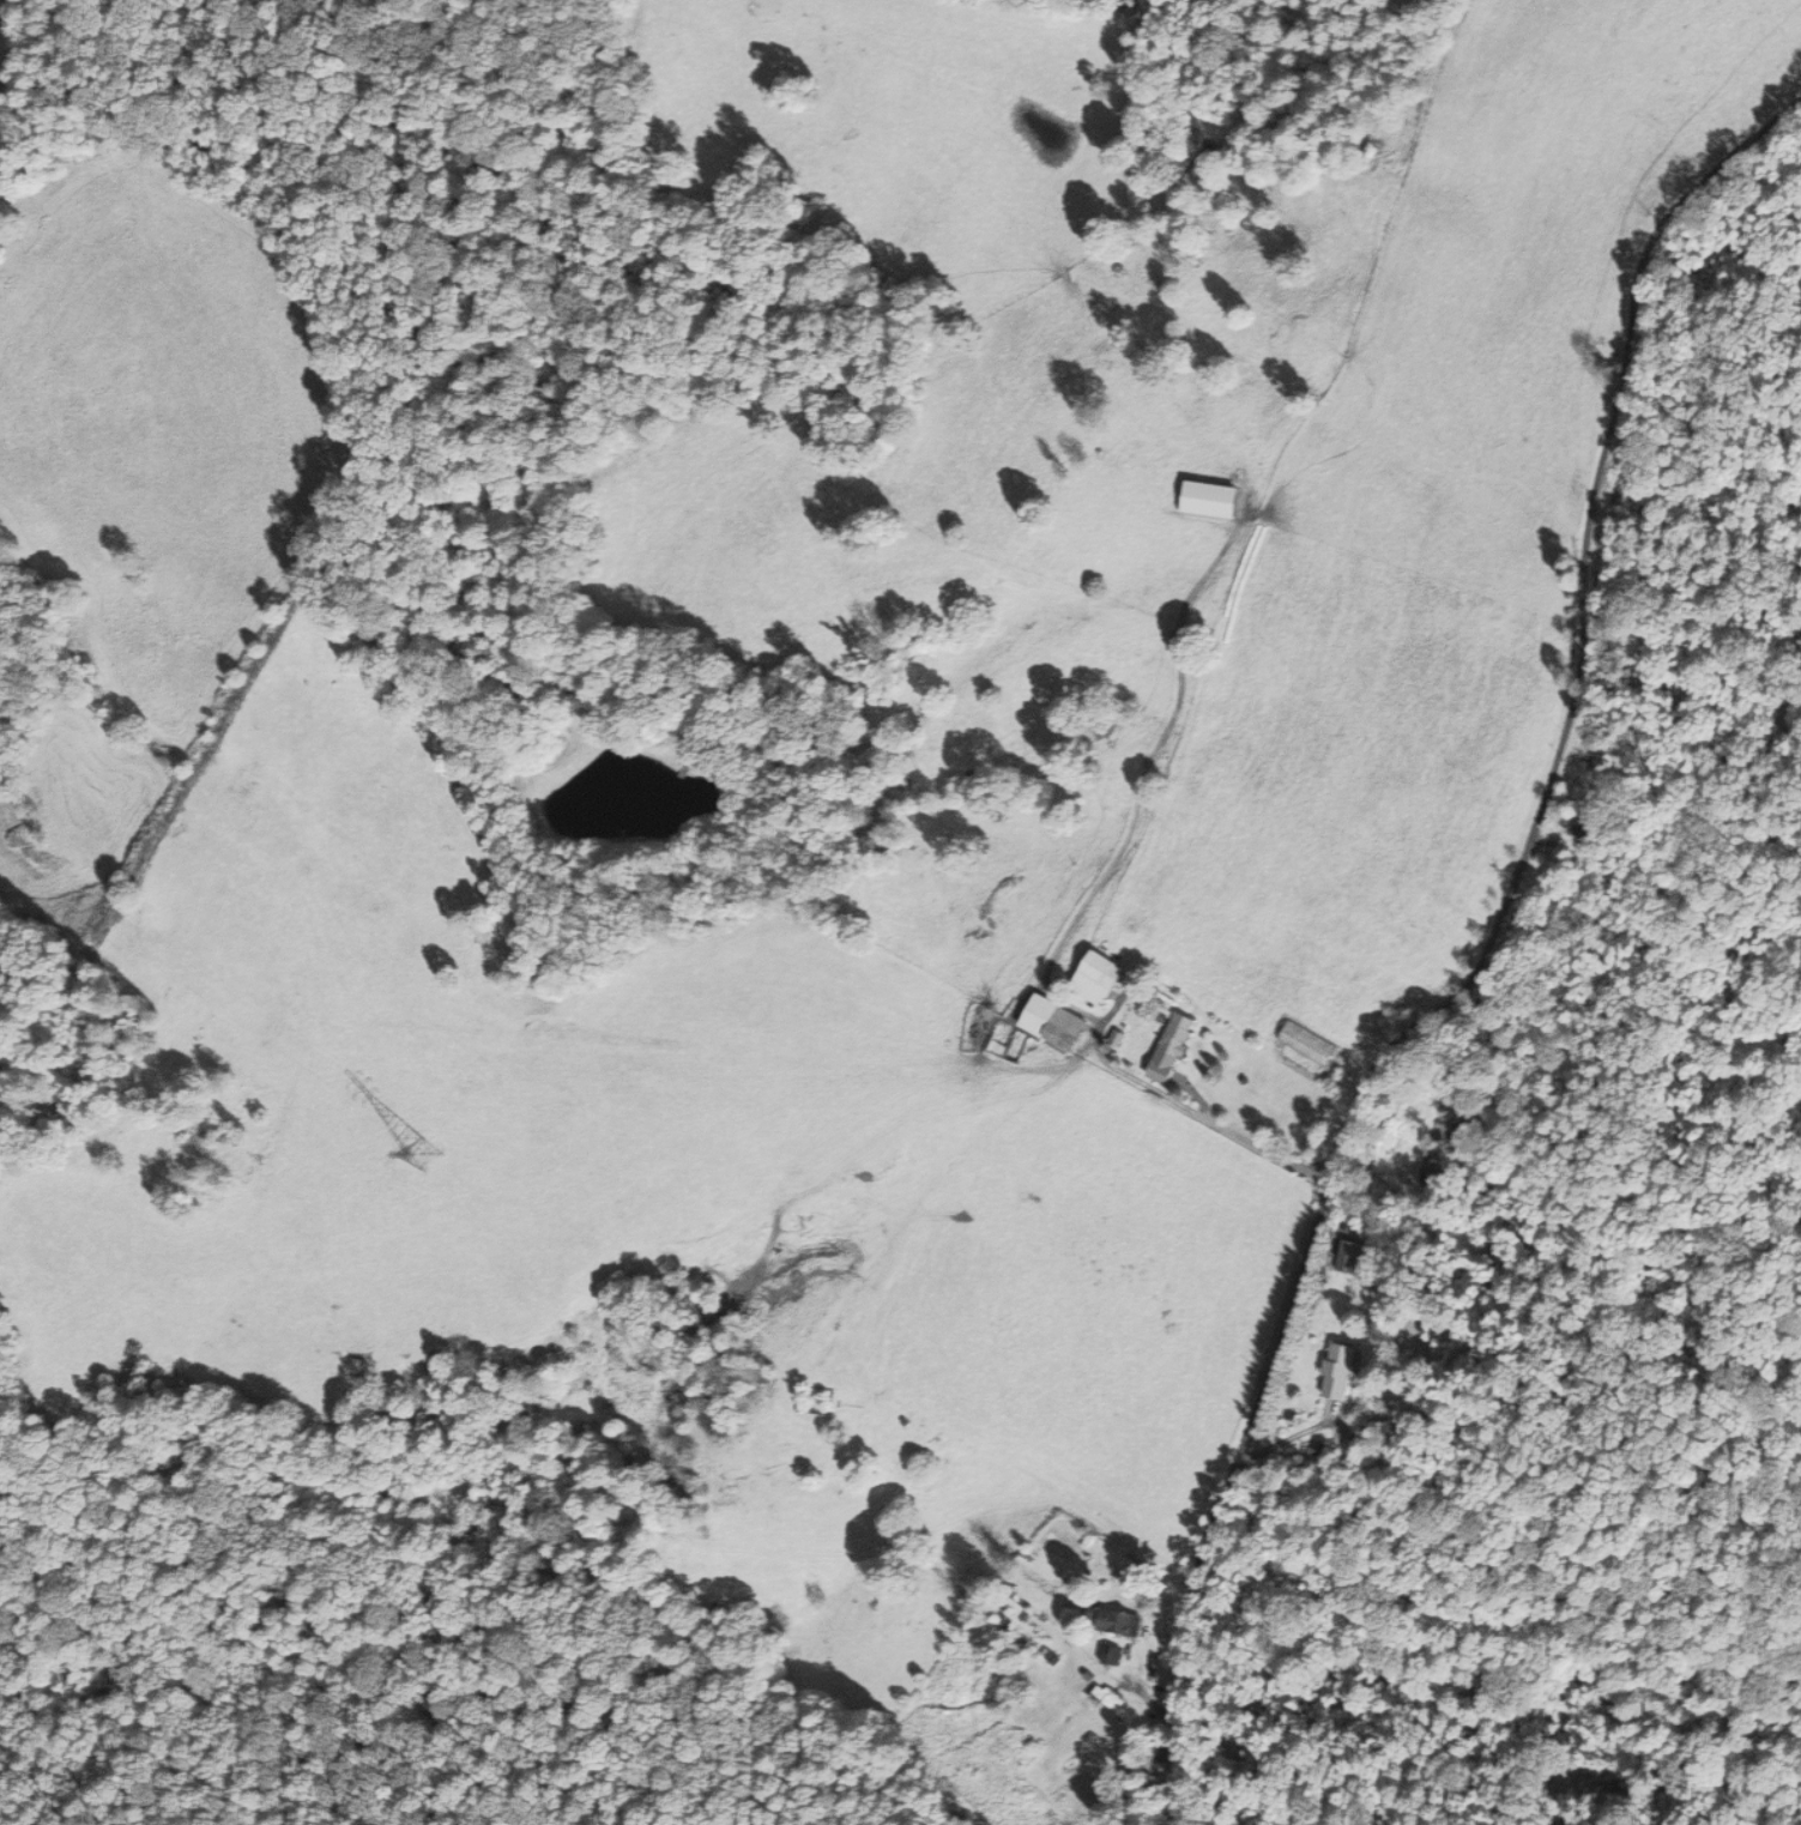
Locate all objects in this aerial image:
building: (1215, 498)
building: (1589, 830)
road: (1485, 962)
building: (1100, 978)
building: (1063, 1026)
building: (1174, 1047)
power tower: (429, 1158)
building: (1342, 1368)
building: (1120, 1621)
building: (1108, 1654)
building: (1114, 1703)

